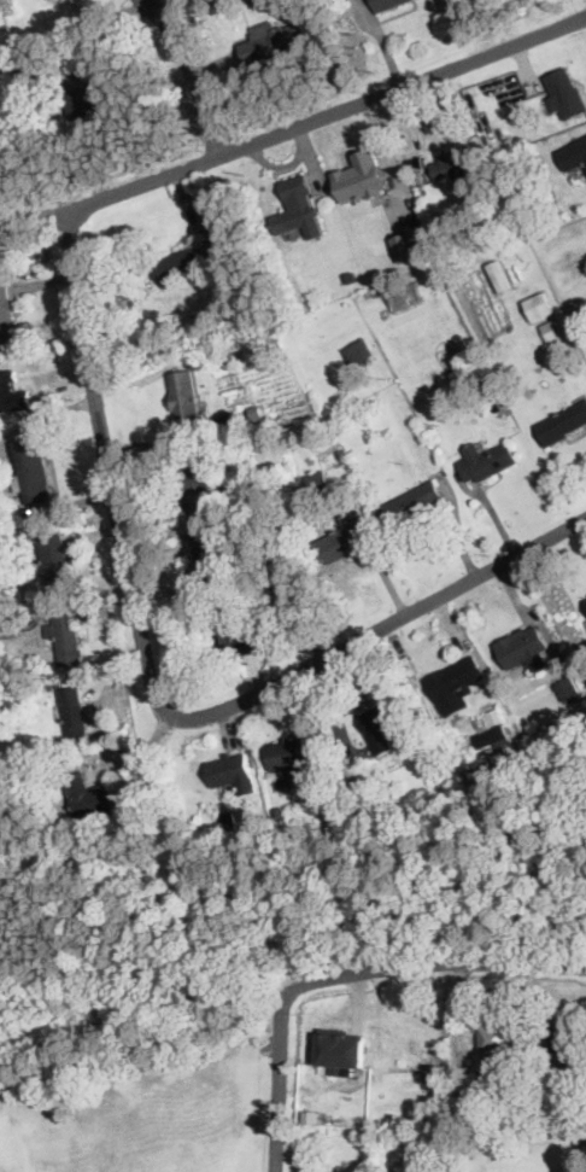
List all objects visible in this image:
building: (388, 4)
building: (274, 41)
building: (30, 71)
road: (194, 77)
building: (566, 95)
building: (88, 100)
building: (573, 156)
building: (455, 164)
building: (540, 165)
building: (361, 179)
road: (88, 205)
building: (298, 209)
building: (406, 247)
building: (192, 261)
building: (500, 275)
building: (350, 278)
building: (405, 296)
building: (539, 307)
building: (579, 311)
building: (6, 317)
building: (552, 330)
building: (358, 352)
building: (239, 366)
building: (456, 374)
building: (459, 385)
building: (12, 392)
building: (187, 401)
building: (257, 413)
road: (43, 415)
building: (562, 424)
building: (271, 437)
building: (344, 453)
building: (486, 461)
building: (336, 463)
building: (33, 471)
building: (198, 480)
building: (317, 482)
building: (346, 482)
building: (236, 488)
building: (411, 503)
road: (48, 508)
building: (339, 544)
building: (210, 555)
building: (54, 559)
building: (246, 564)
building: (585, 595)
building: (277, 597)
road: (383, 628)
building: (7, 629)
building: (227, 636)
building: (65, 637)
building: (525, 648)
building: (456, 680)
building: (568, 692)
building: (494, 716)
building: (75, 717)
building: (386, 722)
building: (493, 737)
road: (139, 751)
building: (295, 756)
building: (233, 772)
building: (522, 777)
building: (285, 785)
building: (379, 791)
building: (88, 797)
building: (279, 812)
building: (228, 817)
road: (347, 974)
building: (563, 1038)
building: (494, 1044)
building: (340, 1050)
building: (459, 1066)
building: (473, 1067)
building: (516, 1072)
building: (438, 1078)
building: (532, 1102)
building: (488, 1118)

